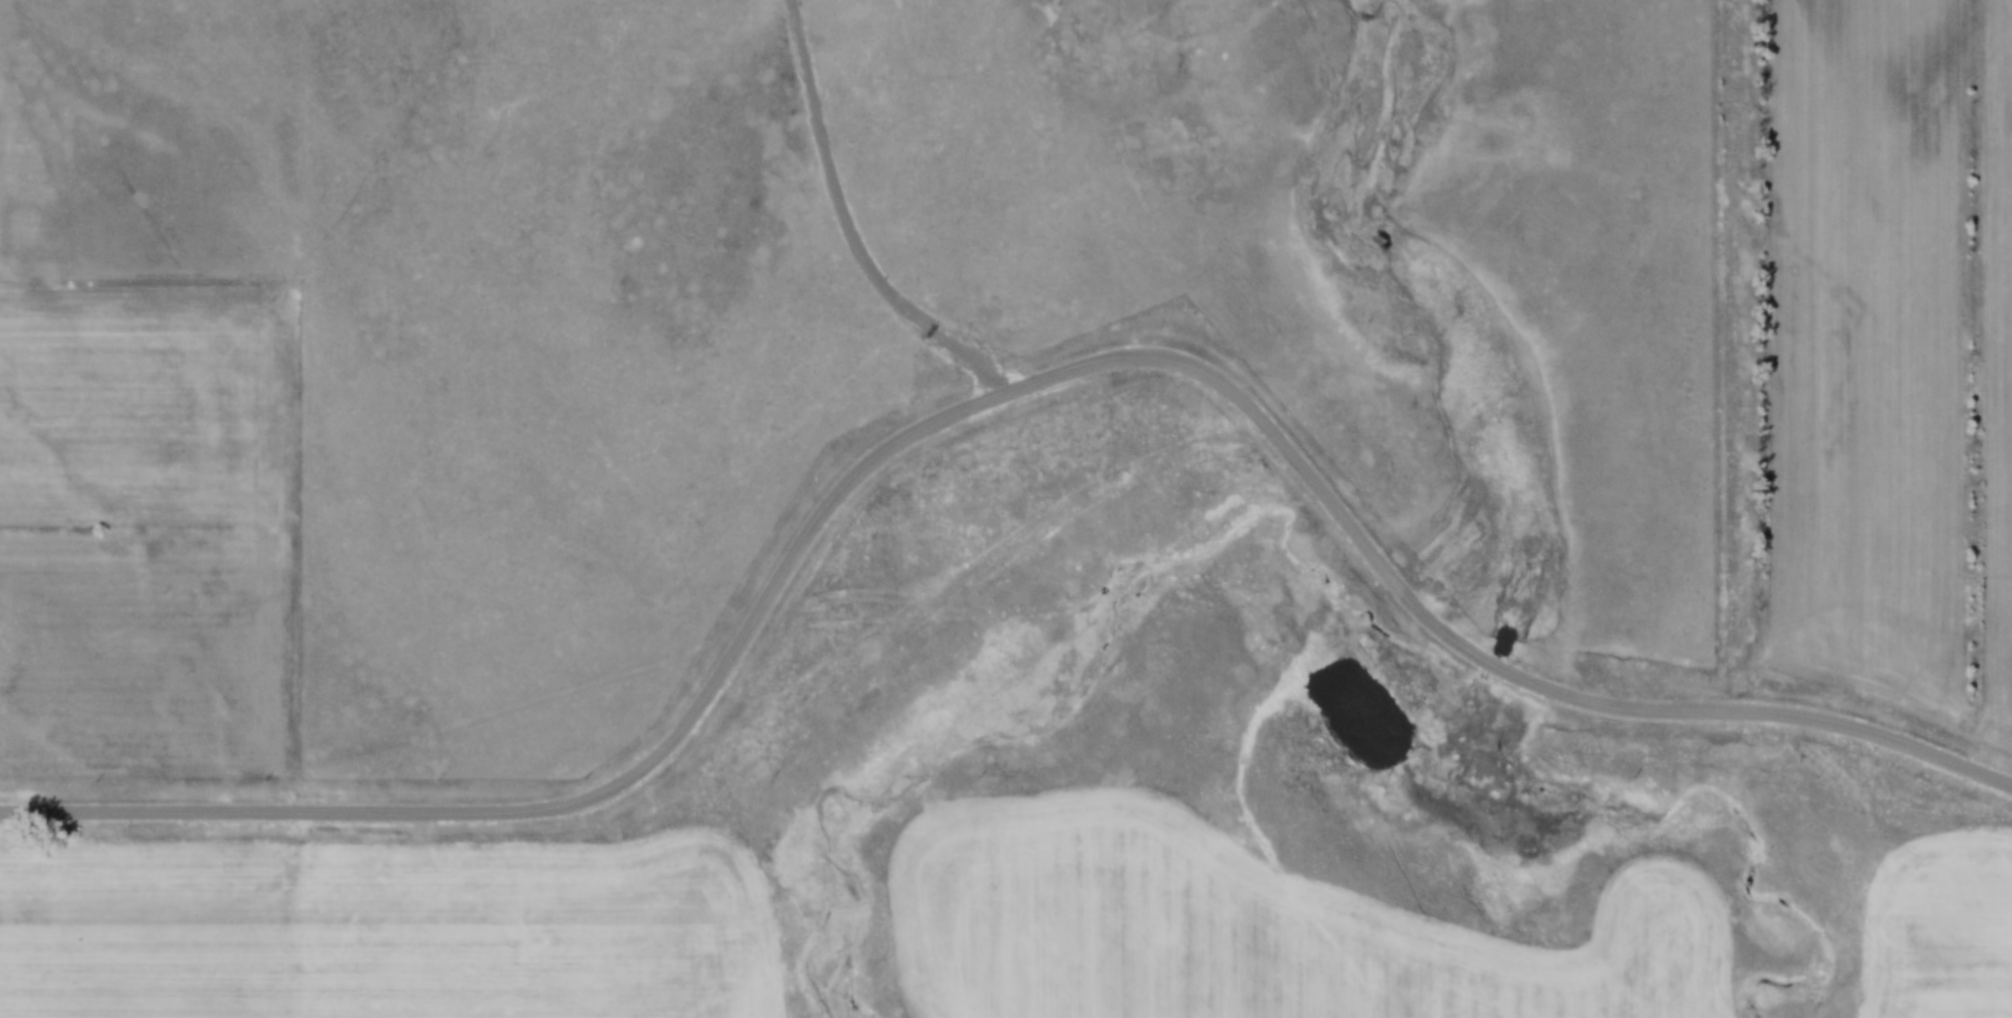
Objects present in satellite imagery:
road: (992, 397)

